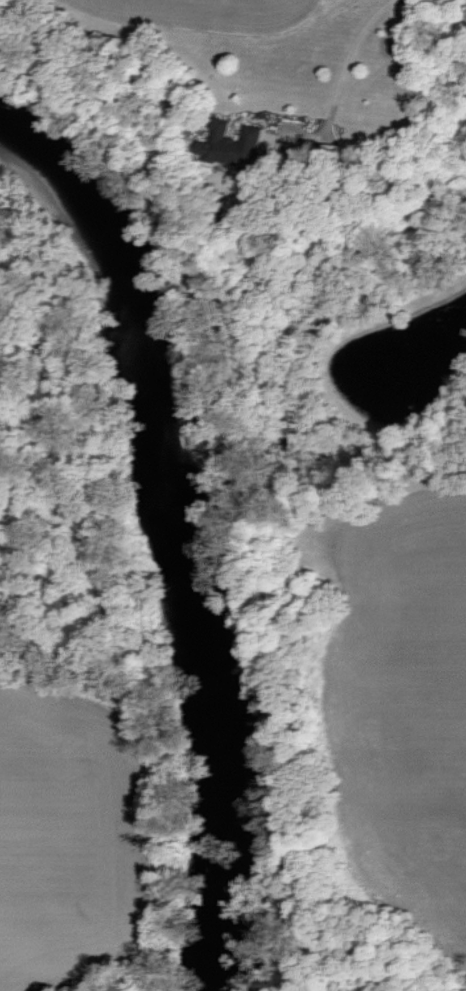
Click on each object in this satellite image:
road: (339, 73)
building: (230, 146)
river: (182, 531)

